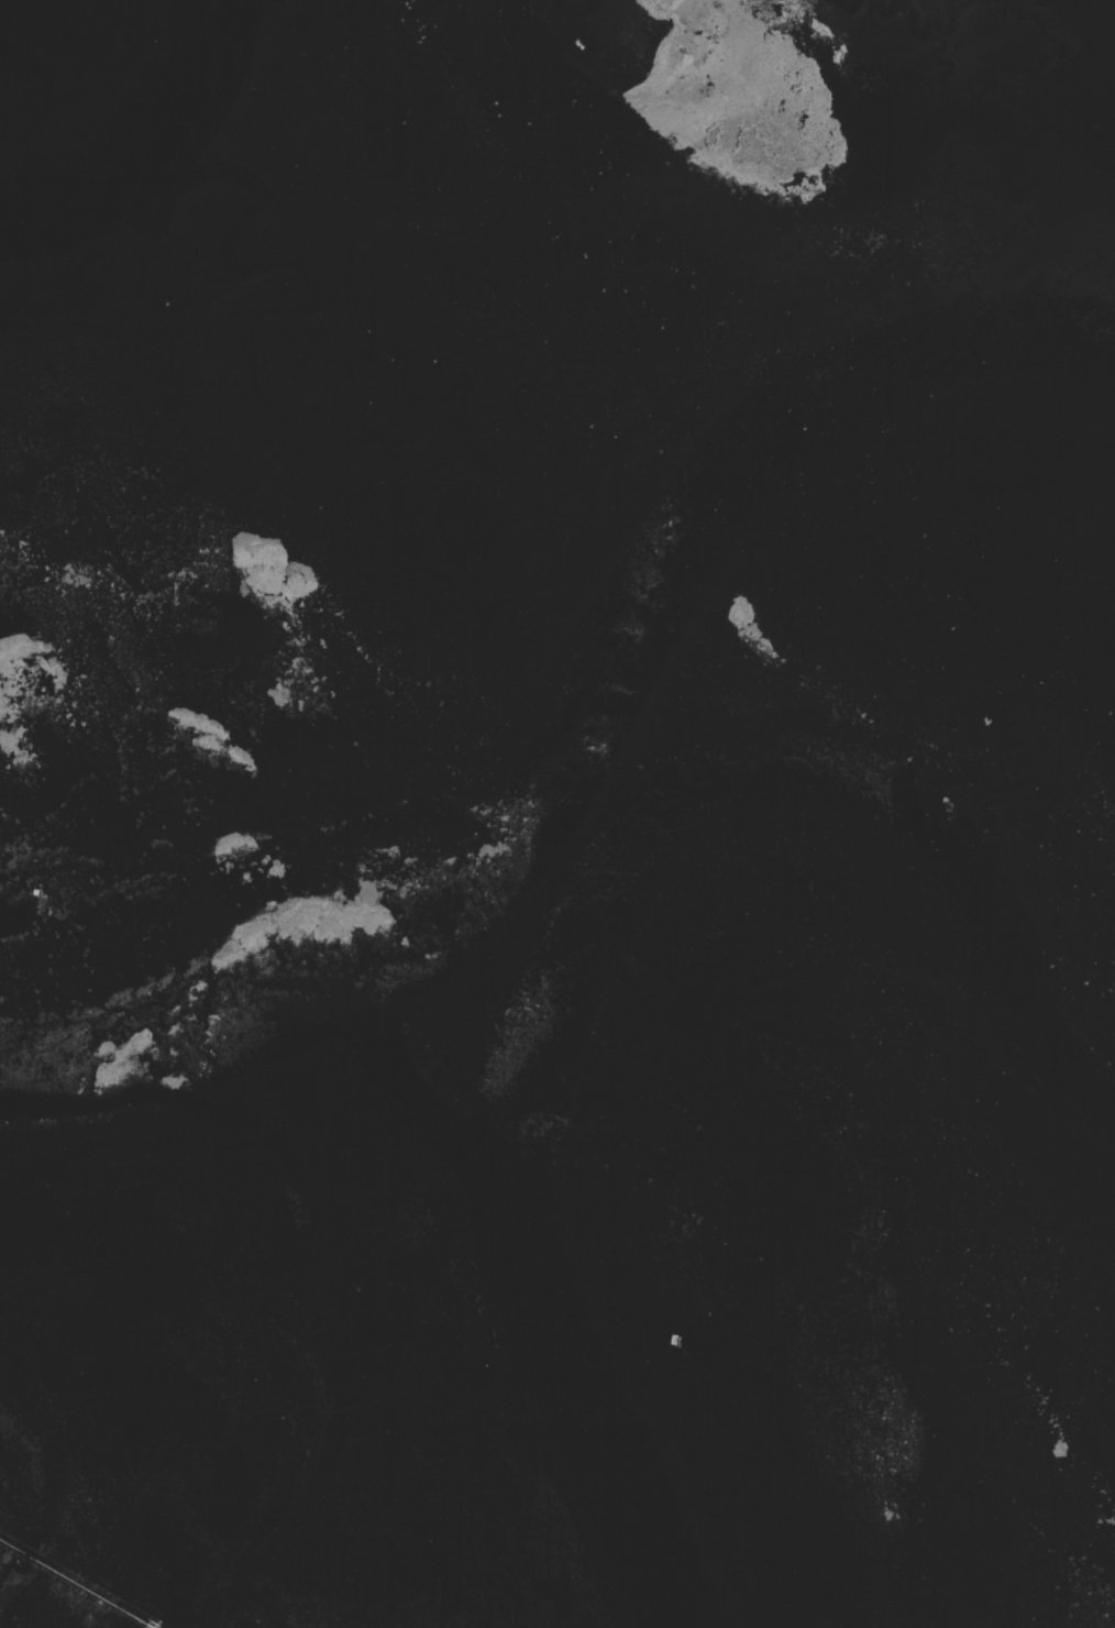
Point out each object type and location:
building: (126, 473)
building: (35, 893)
building: (674, 1341)
pier: (75, 1584)

